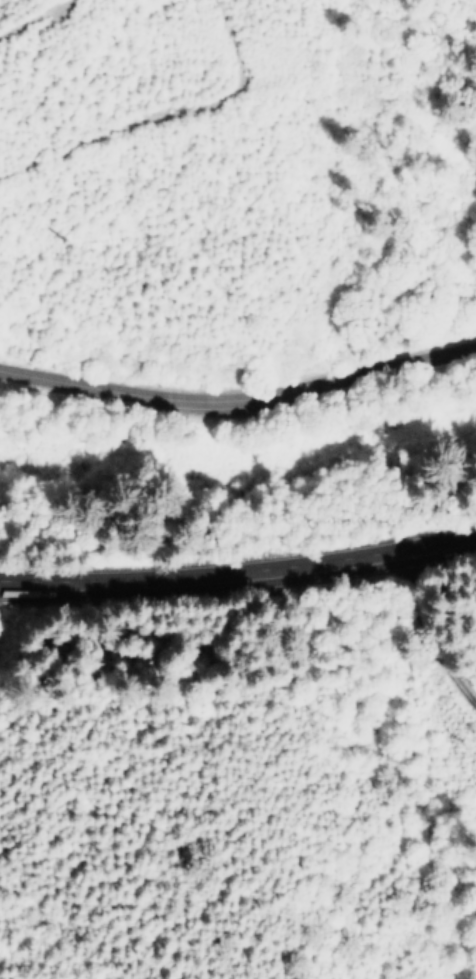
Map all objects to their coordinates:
road: (237, 379)
road: (238, 565)

